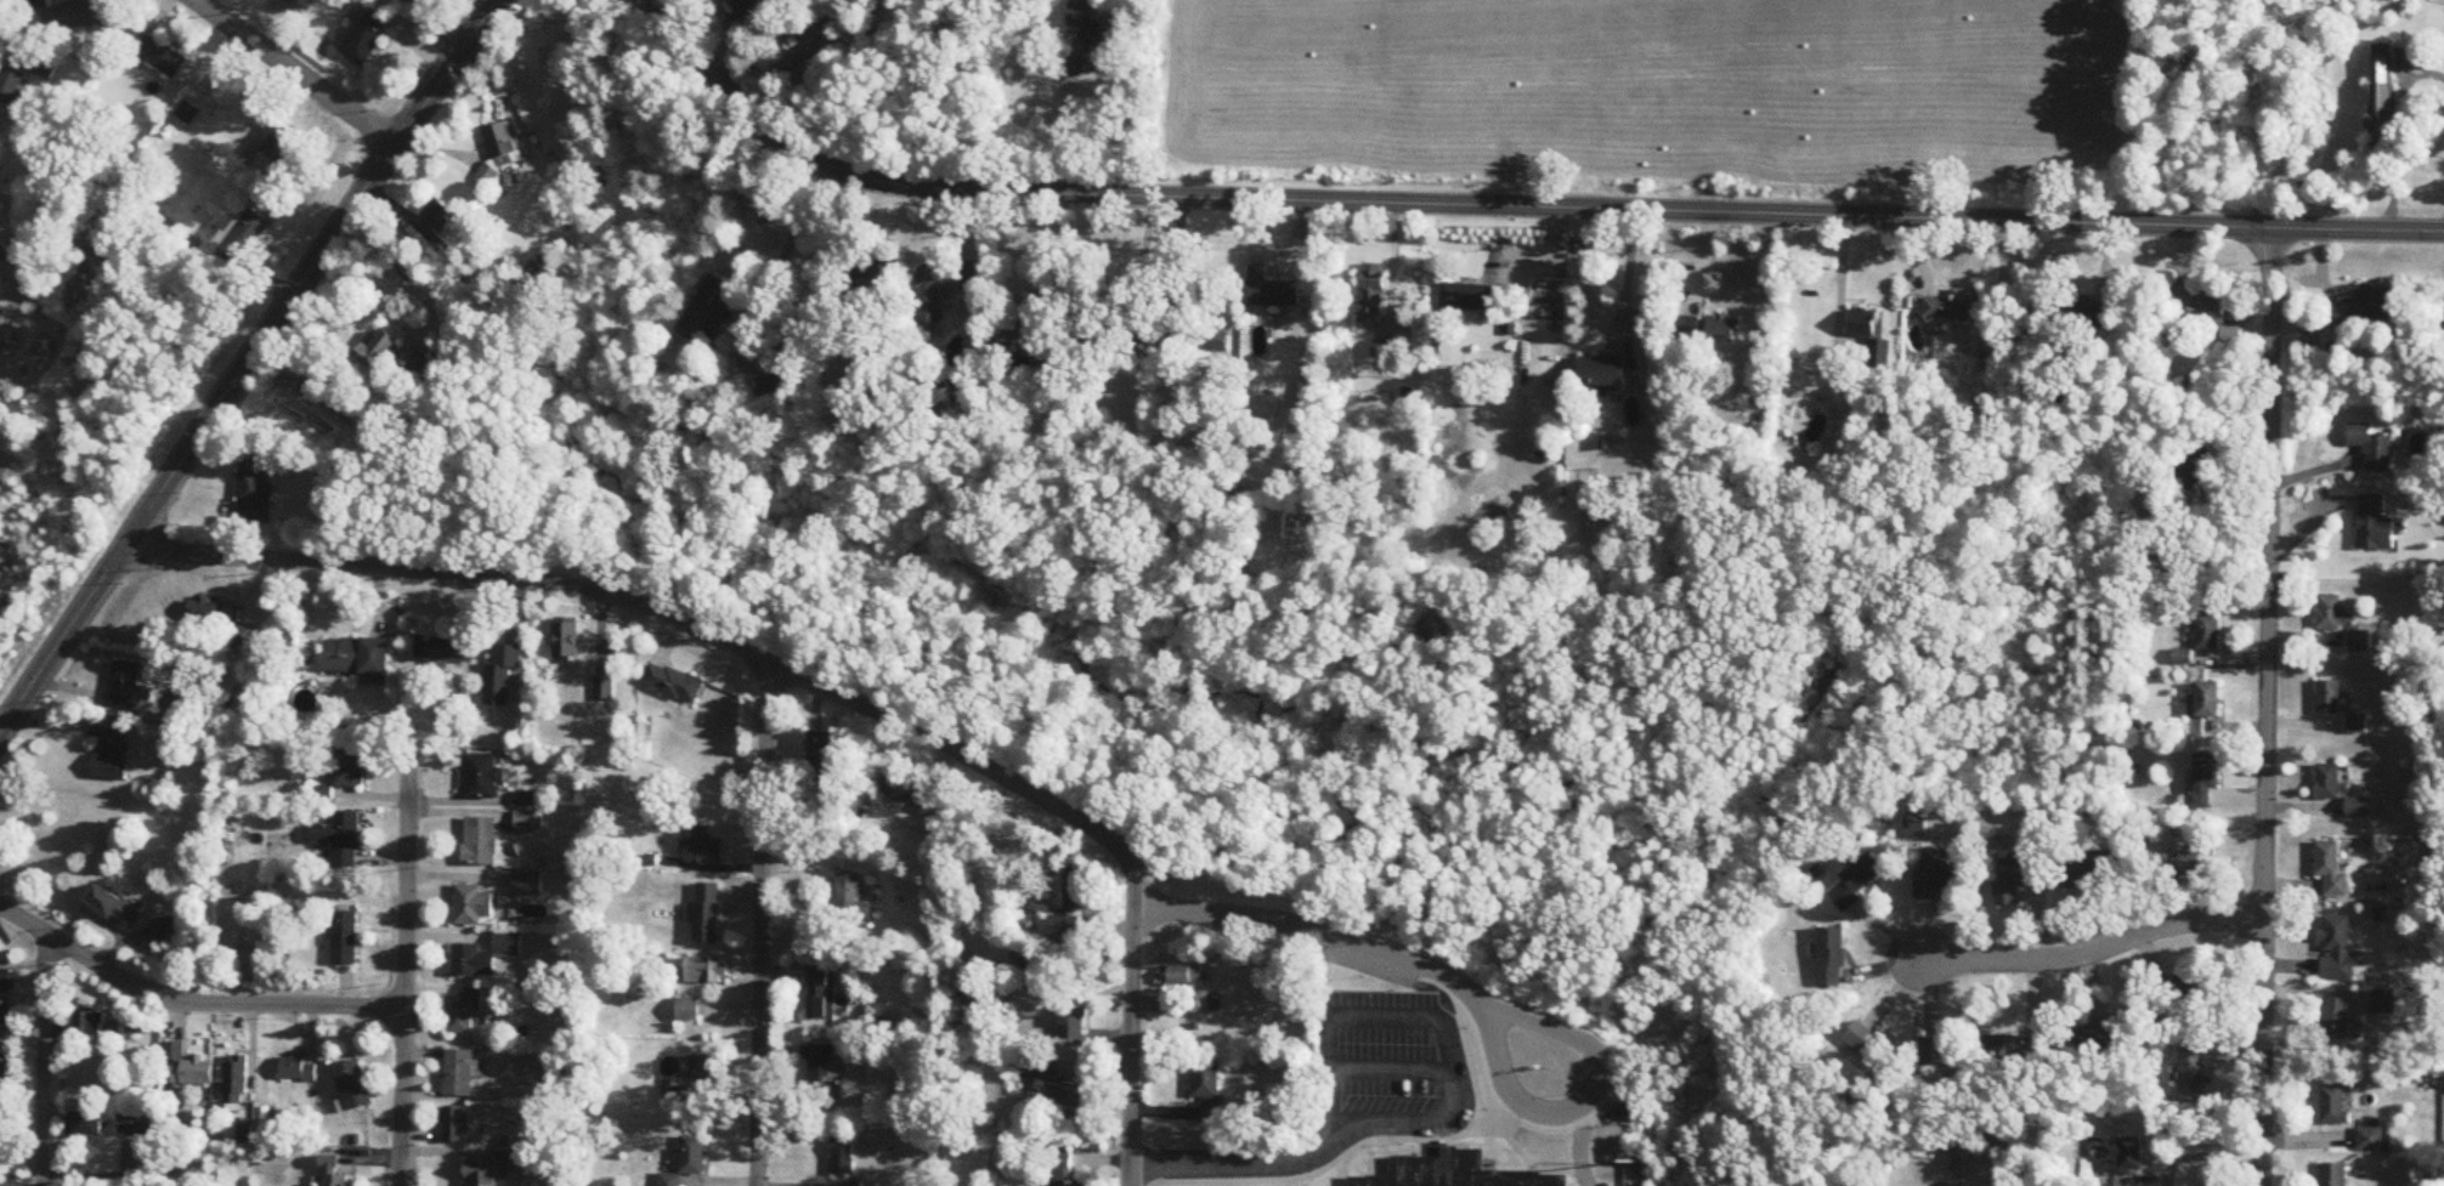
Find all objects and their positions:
building: (742, 4)
building: (67, 17)
building: (816, 28)
building: (369, 38)
building: (1086, 46)
building: (157, 55)
building: (791, 70)
road: (300, 72)
building: (13, 89)
building: (2383, 97)
road: (1131, 109)
building: (188, 114)
building: (1, 135)
road: (2404, 135)
building: (503, 141)
building: (282, 144)
building: (490, 175)
road: (1512, 206)
building: (242, 237)
road: (791, 248)
road: (1626, 278)
building: (875, 284)
building: (943, 285)
building: (1371, 290)
building: (1273, 294)
building: (1469, 296)
building: (2201, 305)
building: (2370, 306)
building: (1954, 307)
building: (709, 312)
building: (2, 319)
building: (1085, 320)
building: (2084, 320)
building: (1724, 329)
road: (411, 331)
building: (1872, 339)
building: (1017, 340)
building: (1169, 346)
building: (1210, 346)
building: (1381, 350)
building: (378, 351)
road: (247, 364)
building: (411, 365)
building: (1602, 373)
building: (774, 388)
building: (2371, 448)
building: (255, 490)
building: (2374, 524)
building: (204, 612)
road: (662, 613)
building: (2330, 613)
building: (2208, 632)
building: (566, 639)
building: (2360, 641)
building: (443, 652)
building: (356, 657)
building: (2183, 658)
building: (502, 676)
building: (674, 683)
building: (124, 685)
building: (2330, 698)
building: (2206, 702)
road: (2267, 708)
building: (2357, 725)
building: (821, 753)
building: (112, 756)
building: (350, 770)
building: (482, 778)
building: (2205, 779)
building: (2329, 783)
building: (907, 794)
building: (2358, 808)
building: (341, 839)
building: (481, 842)
building: (705, 849)
building: (2188, 866)
building: (2331, 870)
building: (2094, 872)
building: (1944, 876)
building: (2018, 878)
building: (1860, 881)
building: (528, 885)
building: (852, 900)
road: (74, 903)
building: (473, 906)
building: (1071, 906)
building: (113, 907)
building: (708, 914)
road: (762, 924)
building: (168, 931)
building: (345, 938)
road: (2093, 949)
building: (2336, 949)
building: (483, 957)
building: (1832, 958)
road: (403, 967)
building: (706, 971)
building: (1179, 976)
building: (7, 982)
building: (820, 992)
road: (1469, 993)
building: (2176, 994)
road: (189, 1003)
building: (1200, 1004)
building: (688, 1011)
building: (465, 1012)
building: (6, 1014)
building: (1074, 1020)
road: (1437, 1020)
building: (2337, 1020)
building: (89, 1025)
road: (1130, 1031)
building: (2095, 1042)
building: (1867, 1043)
building: (2014, 1049)
building: (1942, 1051)
road: (39, 1059)
building: (188, 1068)
building: (298, 1071)
building: (824, 1073)
building: (2193, 1073)
building: (459, 1074)
building: (236, 1082)
building: (691, 1083)
building: (353, 1086)
building: (1209, 1093)
building: (1063, 1100)
building: (2336, 1106)
building: (137, 1124)
building: (86, 1125)
building: (457, 1125)
building: (2371, 1136)
building: (2116, 1153)
building: (843, 1158)
road: (2203, 1159)
building: (689, 1161)
road: (1237, 1163)
building: (1063, 1171)
building: (333, 1173)
building: (487, 1173)
building: (1454, 1173)
building: (2336, 1175)

